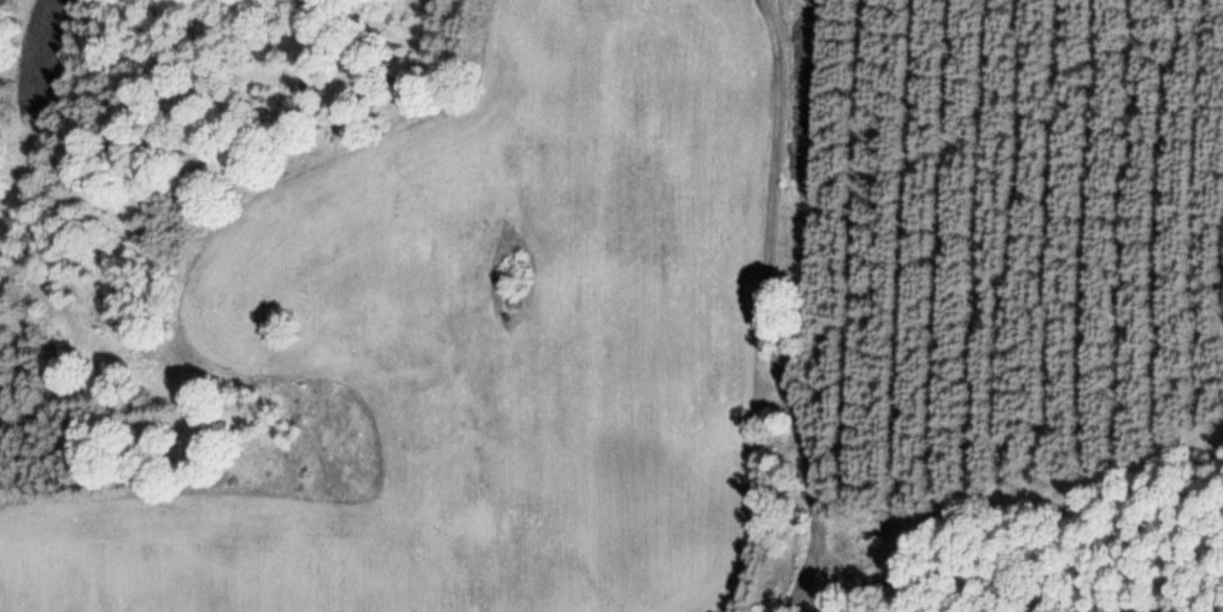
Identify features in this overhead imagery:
road: (766, 310)

